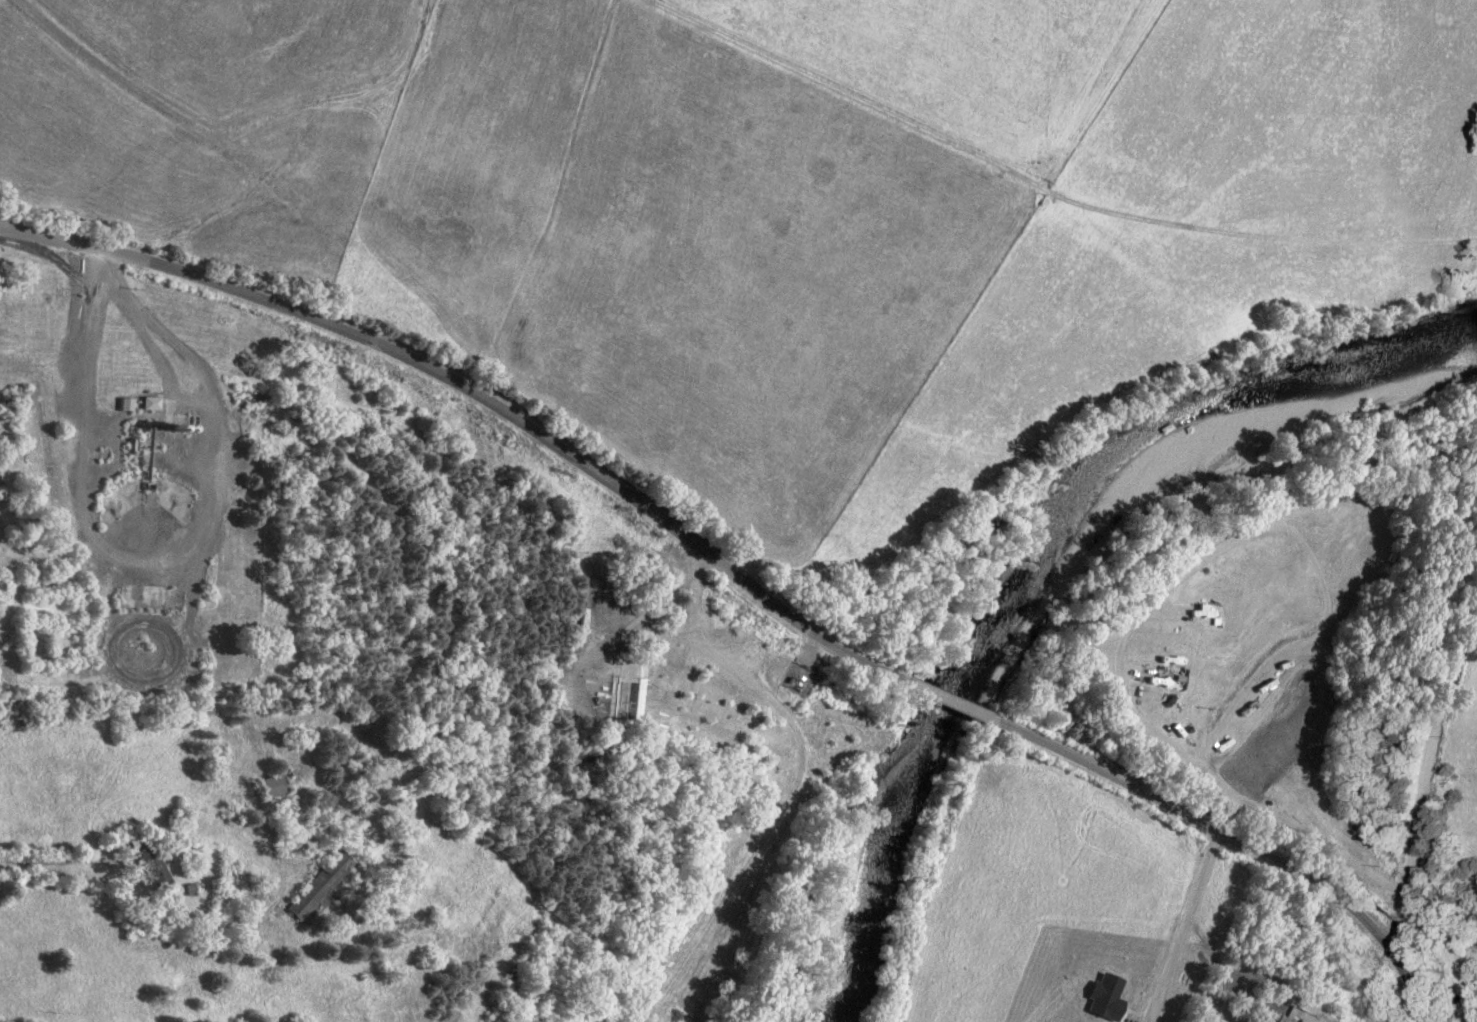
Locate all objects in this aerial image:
road: (578, 199)
road: (447, 374)
building: (149, 403)
building: (124, 404)
river: (1047, 582)
road: (927, 688)
building: (270, 786)
road: (1436, 811)
road: (1247, 855)
building: (149, 864)
road: (57, 866)
road: (1182, 929)

